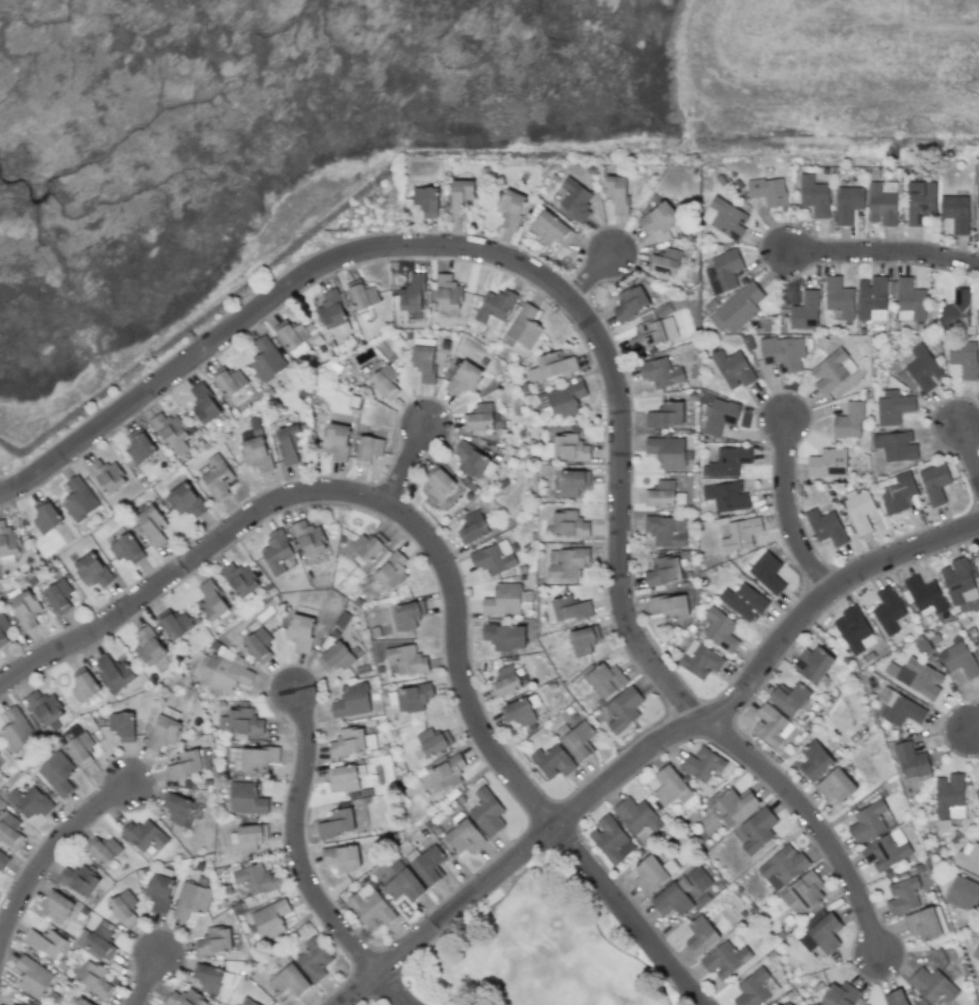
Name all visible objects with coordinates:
building: (769, 191)
building: (618, 193)
building: (815, 196)
building: (461, 197)
building: (576, 200)
building: (427, 201)
building: (920, 202)
building: (883, 203)
building: (848, 204)
building: (511, 208)
building: (956, 213)
building: (978, 217)
building: (659, 218)
building: (728, 219)
building: (551, 229)
road: (486, 249)
road: (884, 253)
building: (666, 262)
building: (725, 271)
road: (593, 274)
building: (412, 293)
building: (447, 293)
building: (362, 294)
building: (839, 297)
building: (872, 299)
building: (910, 301)
building: (630, 302)
building: (740, 306)
building: (494, 308)
building: (956, 310)
building: (333, 311)
building: (805, 311)
building: (977, 316)
building: (523, 329)
building: (652, 331)
building: (292, 337)
building: (784, 352)
building: (964, 358)
building: (266, 359)
building: (424, 363)
building: (551, 366)
building: (733, 369)
building: (832, 370)
building: (921, 370)
building: (660, 373)
building: (373, 377)
building: (464, 378)
building: (229, 381)
building: (566, 398)
building: (204, 404)
building: (893, 407)
building: (666, 415)
building: (479, 417)
building: (718, 417)
building: (849, 421)
building: (171, 432)
building: (337, 440)
building: (289, 442)
building: (896, 446)
building: (140, 447)
building: (570, 448)
building: (368, 449)
building: (666, 451)
building: (256, 454)
road: (968, 457)
building: (473, 461)
building: (727, 462)
road: (411, 464)
building: (827, 464)
building: (107, 476)
building: (217, 477)
building: (573, 482)
building: (439, 483)
building: (934, 483)
building: (897, 492)
building: (661, 494)
building: (727, 496)
building: (79, 500)
building: (185, 500)
road: (787, 509)
building: (858, 509)
building: (45, 517)
building: (569, 524)
building: (151, 525)
building: (472, 527)
building: (826, 527)
building: (666, 531)
building: (741, 533)
building: (308, 537)
building: (8, 540)
building: (367, 547)
building: (126, 549)
building: (276, 551)
building: (978, 553)
building: (494, 558)
road: (443, 559)
building: (566, 562)
building: (92, 570)
building: (663, 571)
building: (391, 572)
building: (767, 573)
building: (240, 580)
building: (958, 581)
building: (58, 596)
building: (925, 596)
building: (212, 600)
building: (507, 600)
building: (744, 601)
building: (974, 604)
building: (670, 606)
building: (570, 608)
building: (25, 610)
building: (888, 611)
building: (409, 615)
building: (174, 623)
building: (3, 628)
building: (720, 629)
building: (854, 631)
building: (301, 632)
building: (505, 636)
building: (583, 640)
building: (258, 644)
building: (149, 646)
building: (977, 647)
building: (337, 656)
building: (407, 659)
building: (959, 659)
building: (700, 660)
building: (813, 663)
building: (114, 672)
building: (920, 678)
building: (606, 680)
building: (505, 681)
building: (84, 685)
building: (410, 697)
building: (790, 698)
building: (352, 701)
building: (45, 708)
building: (900, 708)
building: (623, 709)
building: (519, 712)
building: (123, 725)
building: (771, 725)
road: (975, 725)
building: (16, 729)
building: (164, 733)
building: (578, 740)
building: (348, 741)
building: (431, 741)
road: (651, 747)
building: (80, 748)
building: (258, 758)
building: (911, 760)
building: (552, 761)
building: (815, 761)
building: (189, 763)
building: (702, 764)
building: (57, 773)
building: (447, 773)
building: (344, 777)
building: (836, 786)
building: (670, 787)
building: (978, 793)
building: (949, 796)
building: (246, 798)
building: (30, 802)
building: (738, 803)
building: (177, 807)
building: (487, 812)
building: (637, 815)
building: (868, 821)
building: (337, 822)
road: (813, 822)
building: (755, 830)
building: (10, 831)
building: (143, 835)
building: (251, 837)
building: (464, 837)
building: (611, 839)
road: (299, 844)
building: (103, 850)
building: (886, 850)
road: (49, 851)
building: (342, 857)
building: (969, 859)
building: (3, 861)
building: (428, 864)
building: (782, 867)
building: (650, 875)
building: (699, 878)
building: (79, 880)
building: (258, 882)
building: (404, 886)
building: (803, 891)
building: (159, 892)
building: (963, 893)
building: (903, 896)
building: (673, 898)
building: (57, 906)
building: (123, 907)
building: (371, 908)
building: (270, 918)
building: (923, 924)
building: (823, 930)
building: (701, 936)
building: (215, 941)
building: (45, 942)
building: (97, 942)
park: (542, 950)
building: (976, 953)
building: (314, 959)
building: (725, 960)
building: (978, 972)
building: (33, 977)
building: (94, 977)
road: (147, 980)
building: (289, 981)
building: (931, 985)
road: (392, 988)
building: (755, 988)
building: (843, 996)
building: (185, 998)
building: (895, 998)
building: (81, 1002)
building: (248, 1002)
building: (13, 1004)
building: (29, 1004)

